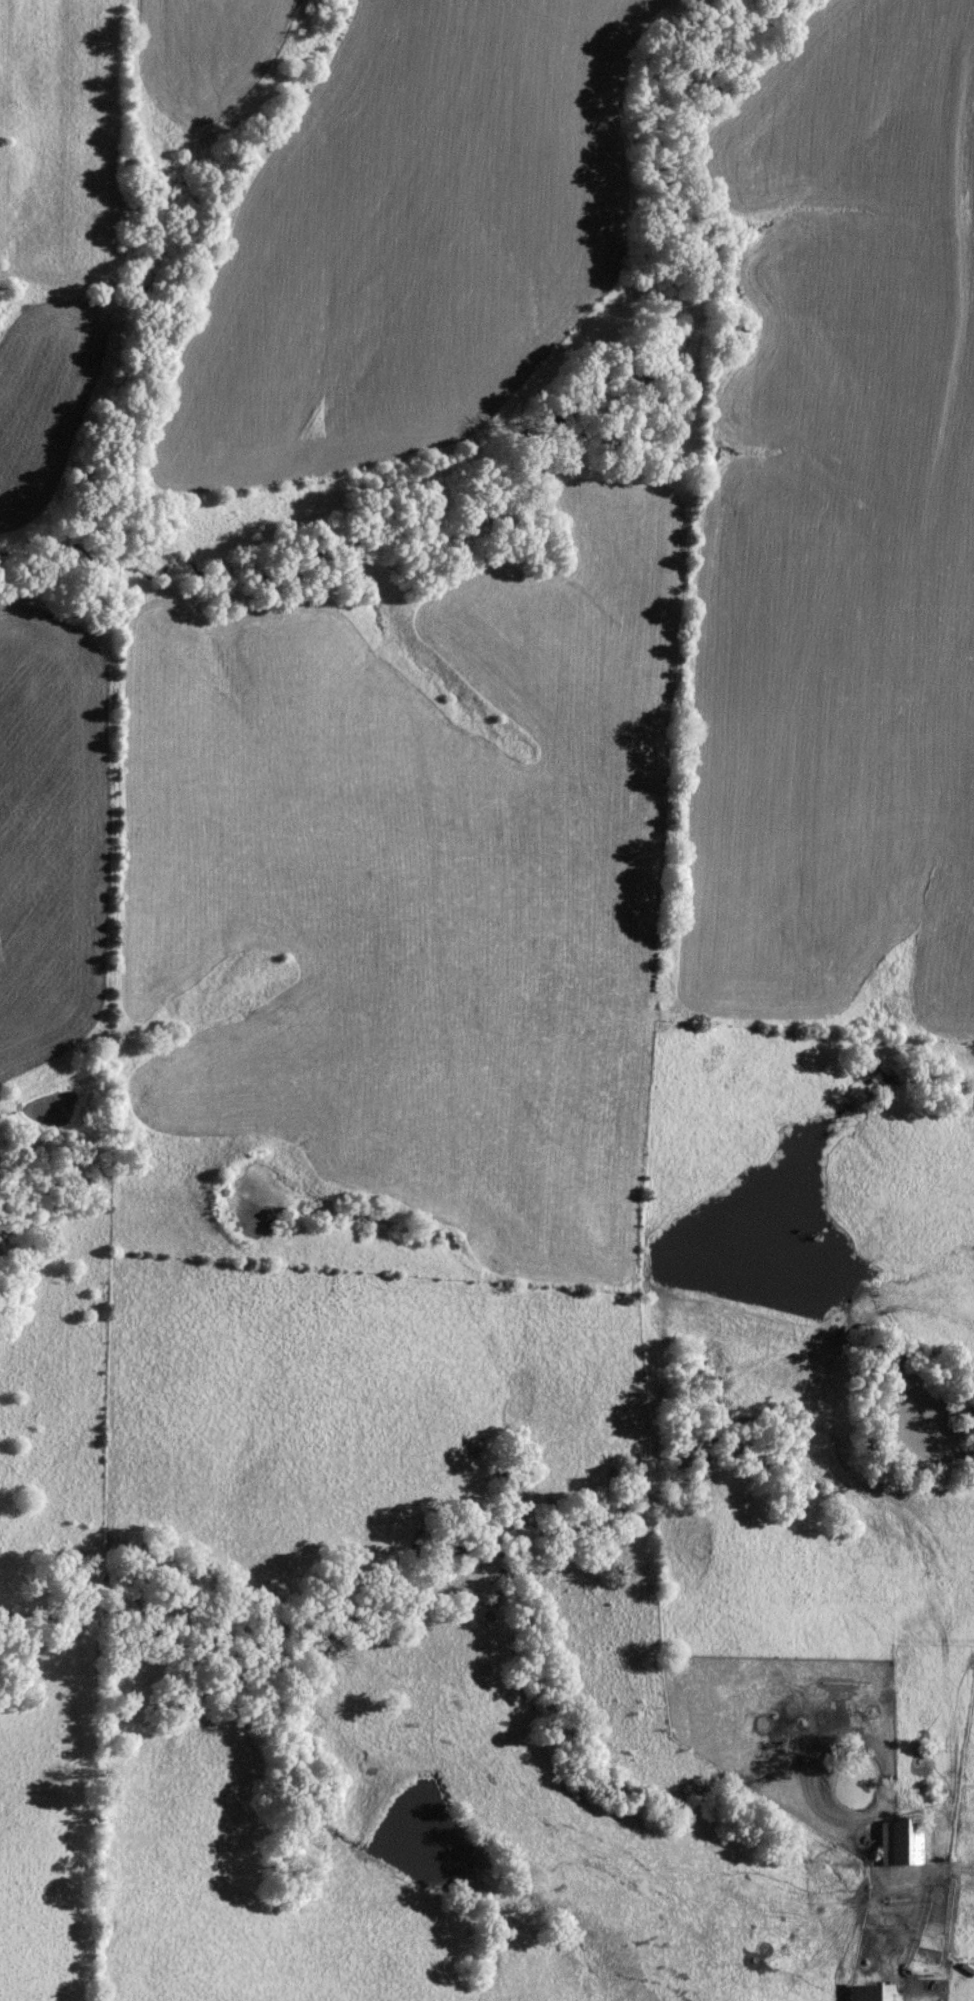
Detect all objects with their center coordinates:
road: (823, 1699)
building: (900, 1842)
road: (939, 1979)
building: (871, 1992)

